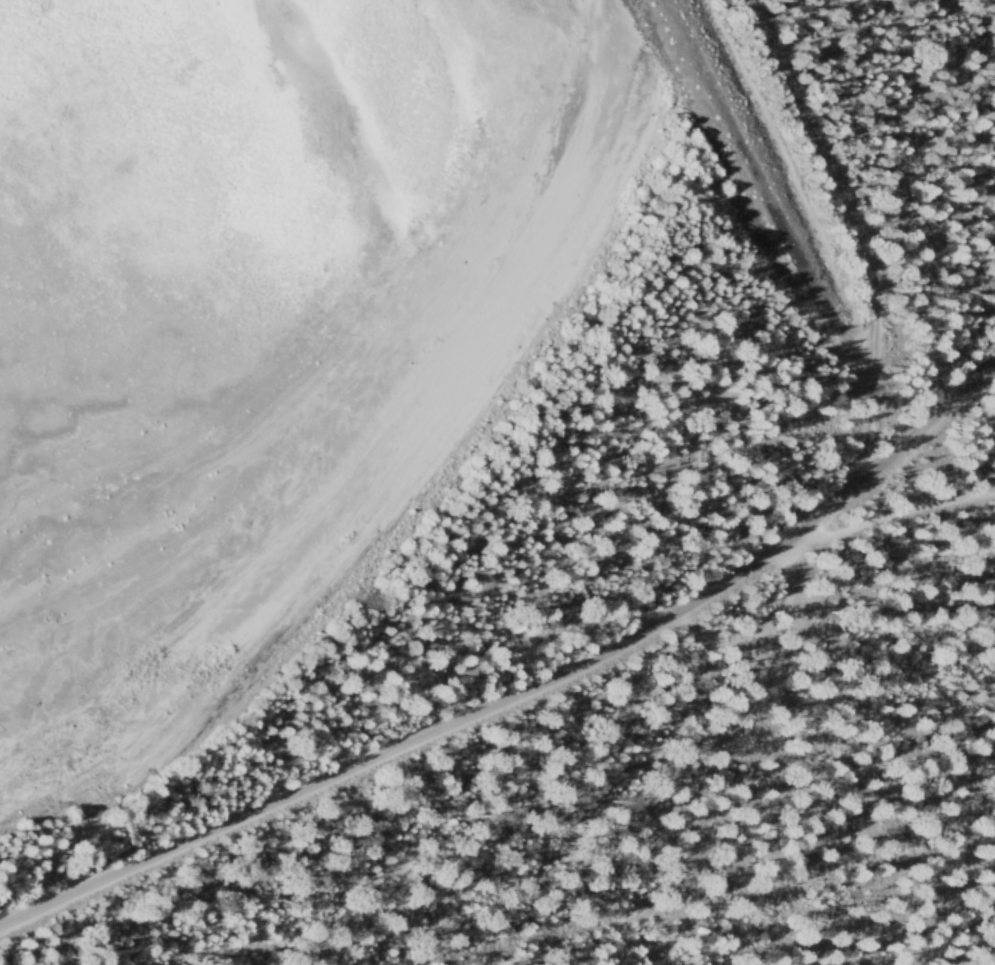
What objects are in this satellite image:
road: (862, 237)
road: (892, 515)
road: (717, 645)
road: (528, 692)
road: (738, 719)
road: (77, 836)
road: (669, 901)

